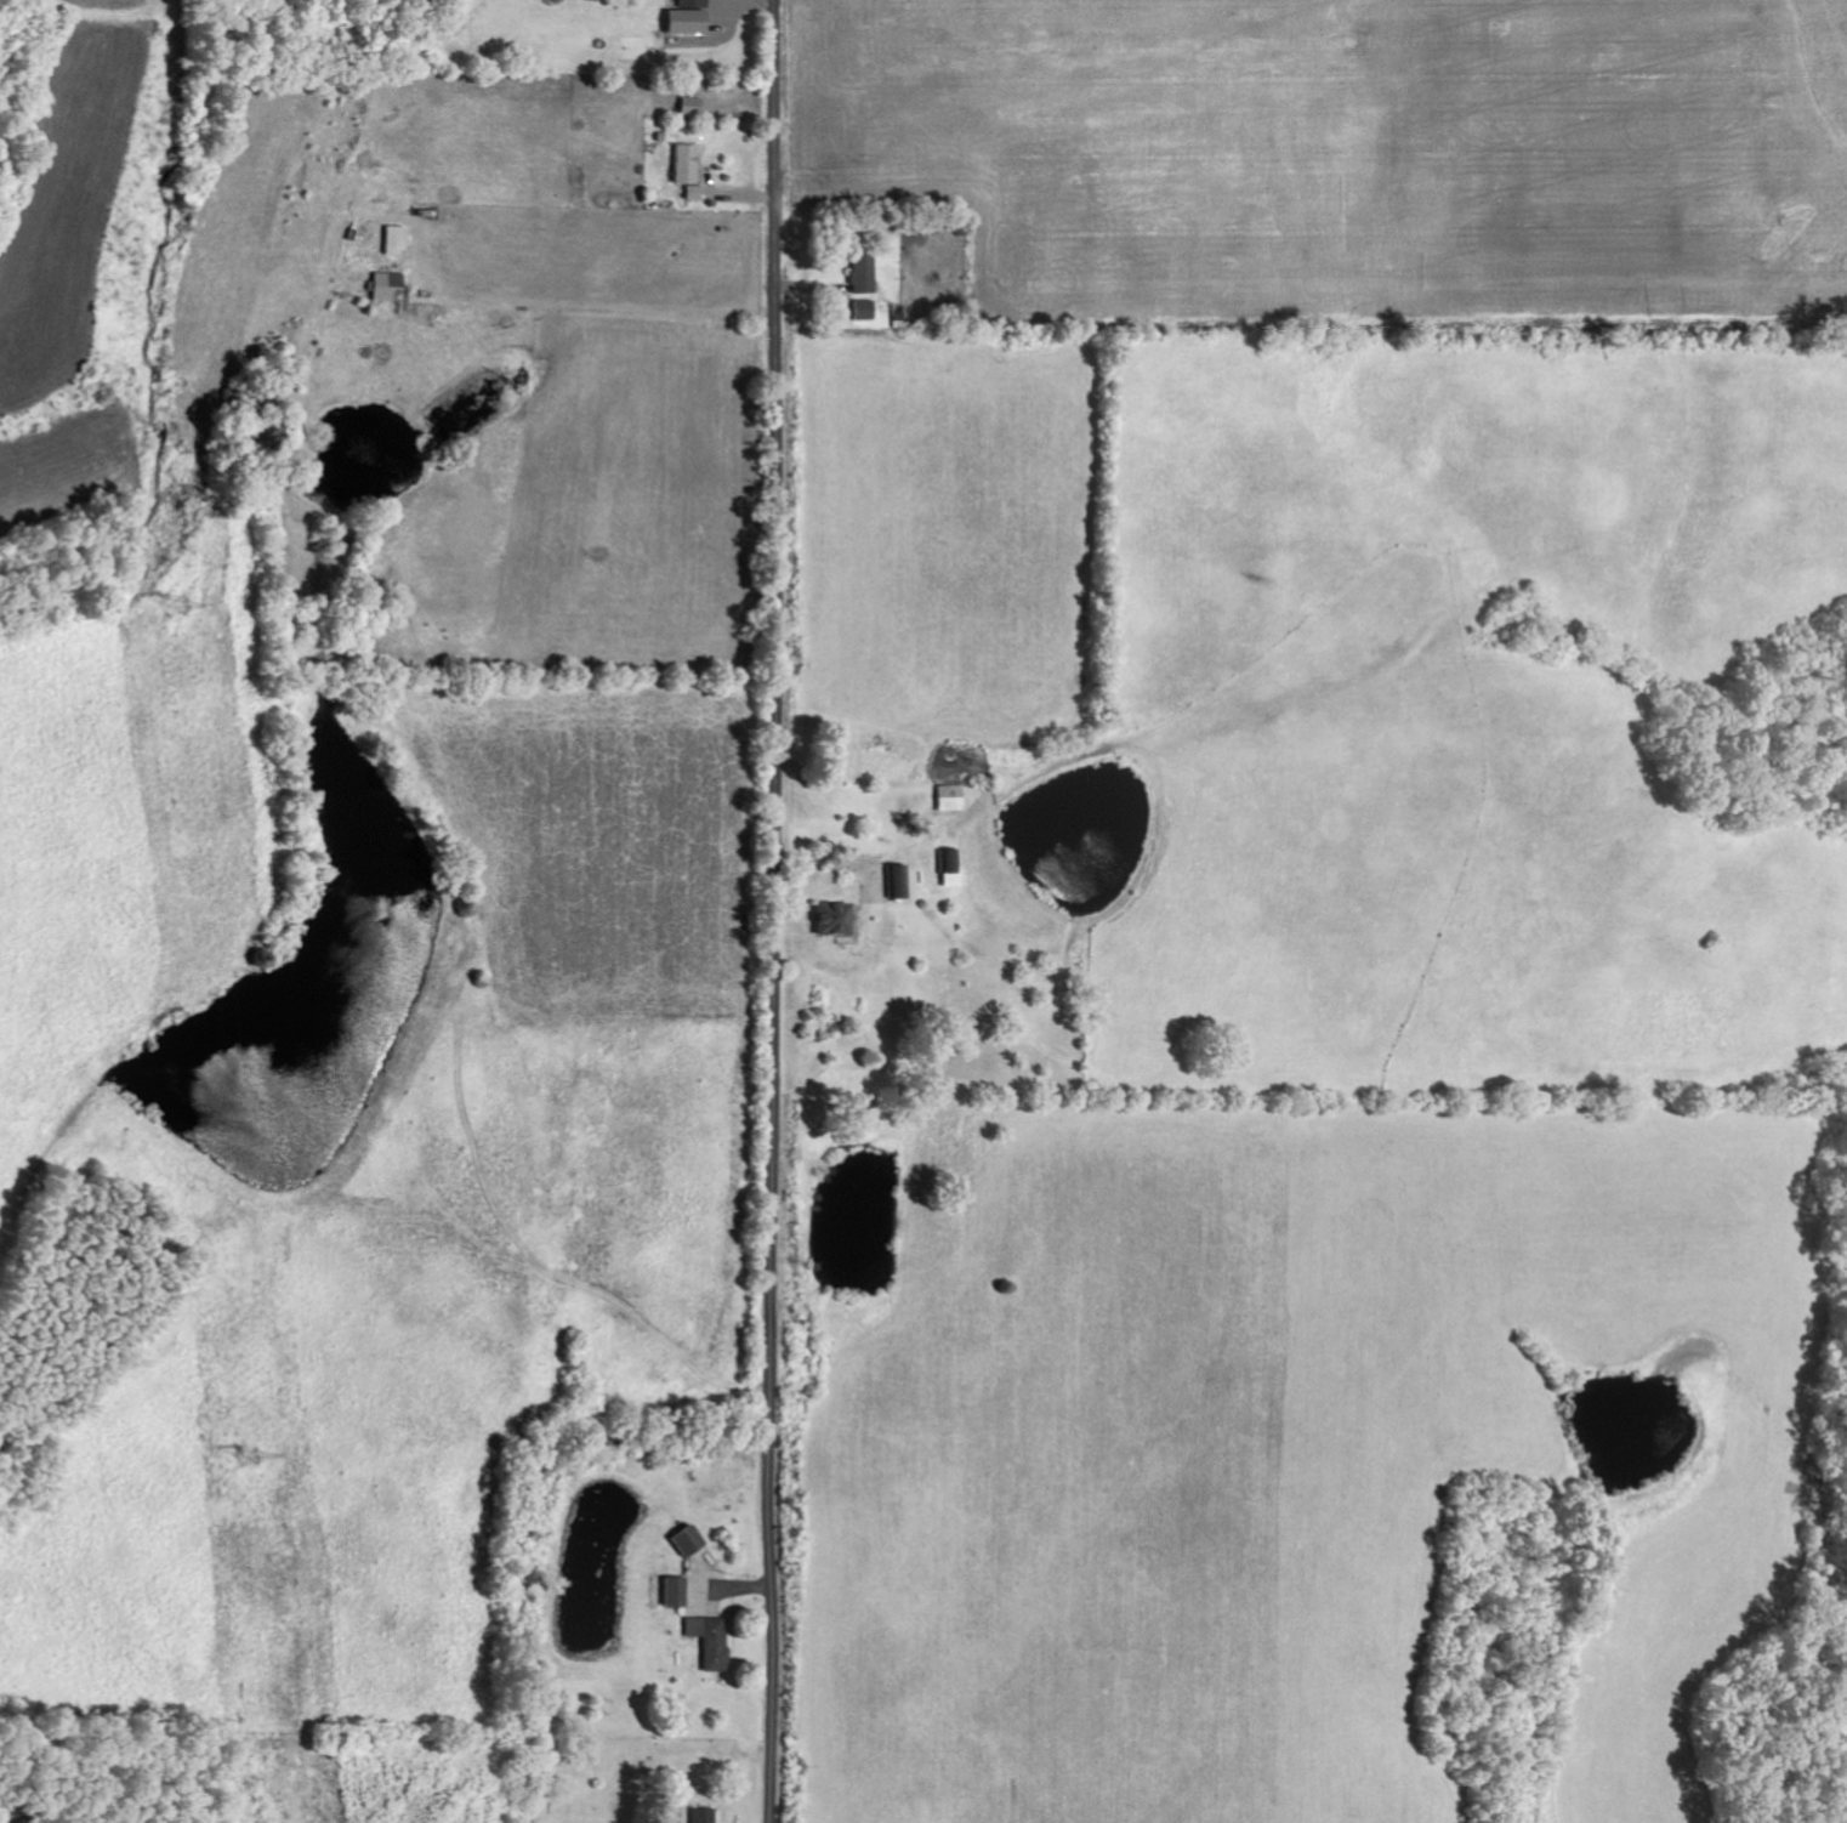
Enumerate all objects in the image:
building: (684, 107)
building: (678, 165)
building: (688, 194)
building: (856, 276)
building: (856, 311)
power tower: (176, 607)
building: (943, 797)
building: (947, 873)
road: (775, 911)
building: (824, 920)
power tower: (250, 1455)
building: (678, 1540)
building: (667, 1592)
building: (703, 1641)
building: (695, 1816)

